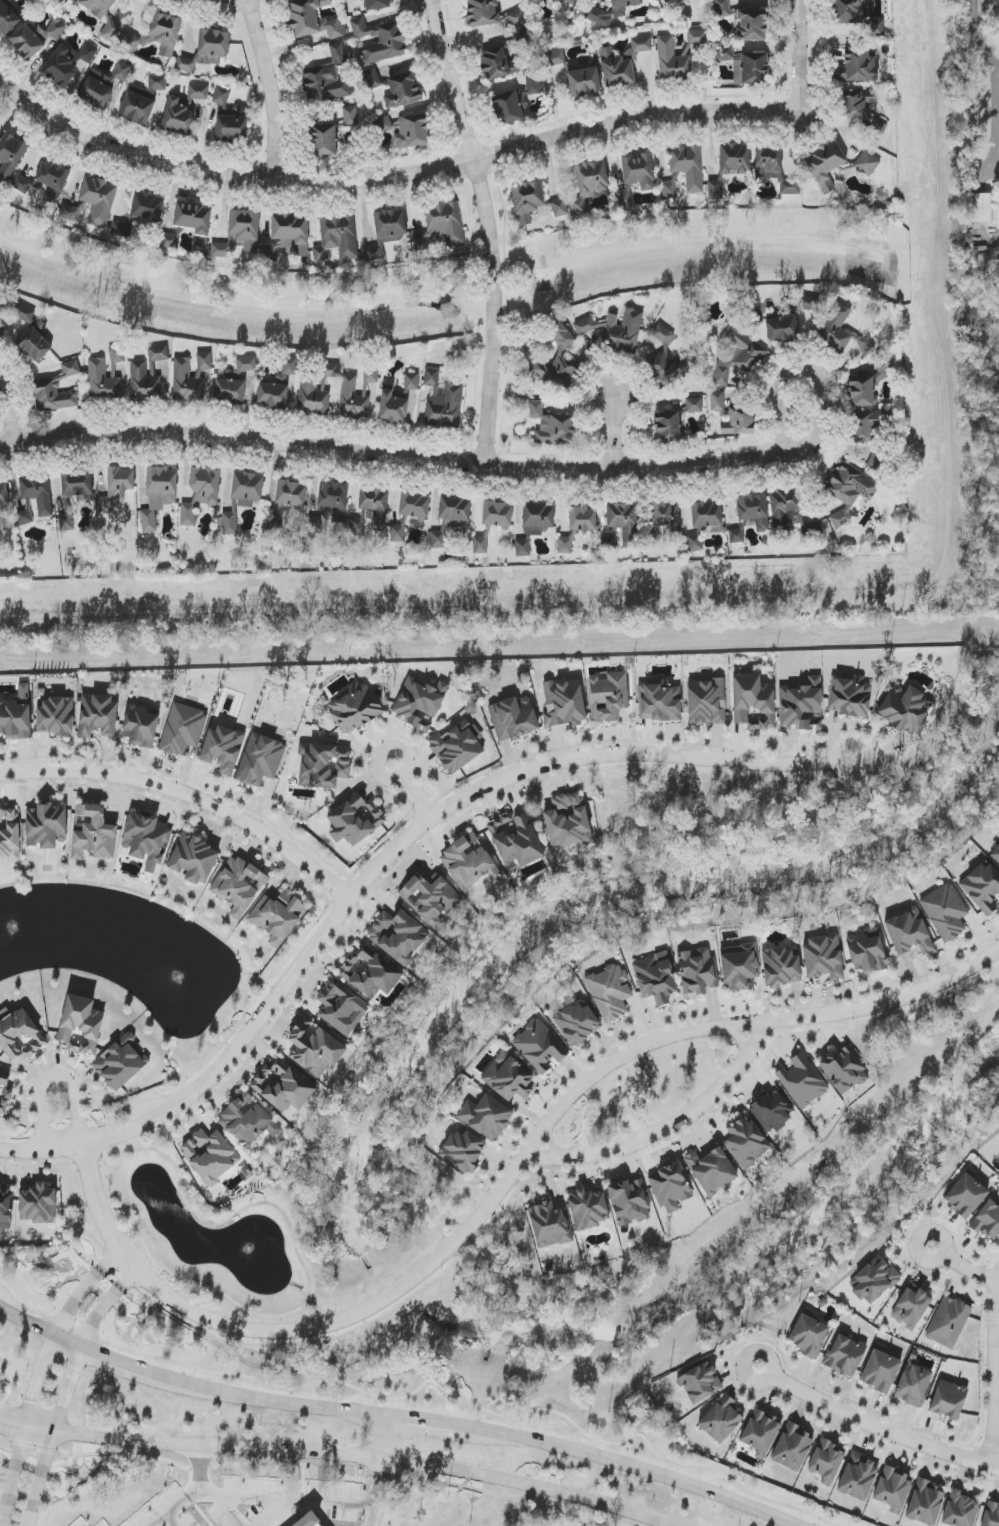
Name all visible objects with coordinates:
building: (64, 0)
building: (568, 1)
road: (242, 3)
building: (377, 5)
building: (722, 8)
building: (594, 10)
building: (483, 12)
building: (856, 15)
building: (103, 16)
building: (7, 19)
building: (313, 19)
building: (751, 25)
building: (156, 35)
road: (978, 35)
building: (35, 37)
building: (380, 40)
building: (206, 50)
building: (678, 56)
road: (799, 56)
building: (555, 58)
building: (67, 62)
building: (499, 64)
building: (622, 64)
building: (857, 65)
building: (745, 66)
building: (326, 78)
building: (372, 79)
building: (584, 82)
building: (532, 84)
building: (102, 85)
road: (272, 90)
building: (402, 90)
building: (221, 96)
building: (142, 100)
building: (510, 108)
building: (183, 110)
building: (862, 113)
building: (350, 116)
road: (995, 121)
building: (407, 130)
building: (323, 139)
building: (11, 155)
building: (735, 158)
building: (867, 163)
building: (825, 165)
building: (688, 166)
building: (774, 169)
building: (638, 171)
building: (53, 179)
building: (21, 184)
road: (392, 184)
building: (590, 184)
building: (669, 190)
building: (715, 190)
building: (624, 197)
building: (98, 200)
building: (527, 200)
building: (147, 207)
building: (560, 208)
building: (976, 208)
building: (70, 213)
building: (194, 220)
building: (441, 225)
road: (489, 229)
building: (239, 234)
building: (287, 236)
building: (337, 238)
building: (3, 311)
building: (451, 312)
building: (782, 329)
building: (616, 330)
building: (841, 331)
building: (32, 335)
building: (158, 353)
building: (117, 354)
building: (670, 355)
building: (738, 355)
building: (557, 361)
road: (809, 367)
building: (71, 369)
building: (286, 373)
building: (411, 381)
building: (144, 382)
building: (234, 382)
building: (103, 383)
building: (348, 389)
building: (317, 391)
building: (53, 396)
building: (272, 396)
building: (442, 400)
road: (8, 405)
building: (694, 405)
building: (392, 406)
building: (732, 415)
building: (552, 426)
building: (668, 426)
building: (862, 427)
road: (617, 433)
road: (394, 455)
building: (77, 483)
building: (116, 487)
building: (247, 488)
building: (849, 492)
building: (201, 493)
building: (291, 493)
building: (4, 494)
building: (38, 494)
building: (158, 495)
building: (334, 499)
building: (375, 505)
building: (414, 505)
building: (454, 508)
building: (784, 509)
building: (754, 511)
building: (497, 514)
building: (667, 515)
building: (707, 516)
building: (25, 518)
building: (536, 518)
building: (582, 519)
building: (66, 522)
building: (230, 523)
building: (626, 523)
building: (356, 526)
building: (397, 534)
building: (736, 536)
building: (438, 540)
building: (695, 543)
building: (480, 545)
building: (565, 545)
building: (523, 548)
building: (608, 696)
building: (850, 697)
building: (659, 701)
building: (419, 702)
building: (706, 702)
building: (753, 702)
building: (564, 704)
building: (800, 705)
building: (354, 709)
building: (903, 709)
building: (97, 715)
building: (16, 717)
building: (56, 717)
building: (513, 719)
building: (140, 726)
building: (182, 729)
building: (456, 747)
building: (222, 749)
building: (260, 760)
building: (325, 766)
road: (407, 792)
road: (188, 797)
building: (356, 821)
building: (567, 821)
building: (46, 826)
building: (93, 832)
building: (9, 833)
building: (515, 839)
building: (146, 840)
building: (995, 855)
building: (194, 858)
building: (468, 863)
road: (381, 865)
building: (238, 886)
building: (983, 887)
building: (430, 899)
building: (945, 912)
building: (278, 917)
fountain: (13, 932)
building: (909, 933)
building: (397, 936)
building: (823, 958)
building: (739, 966)
building: (781, 967)
building: (697, 972)
building: (370, 973)
fountain: (176, 977)
building: (655, 978)
building: (610, 992)
road: (888, 1002)
building: (341, 1007)
building: (577, 1024)
building: (81, 1025)
building: (20, 1036)
road: (737, 1037)
building: (540, 1046)
building: (314, 1048)
road: (625, 1054)
building: (119, 1063)
building: (844, 1070)
road: (54, 1078)
building: (508, 1078)
building: (802, 1081)
building: (282, 1086)
building: (4, 1091)
building: (772, 1110)
building: (486, 1117)
building: (248, 1120)
road: (667, 1127)
building: (746, 1142)
road: (550, 1145)
building: (463, 1151)
building: (210, 1156)
building: (998, 1164)
building: (711, 1170)
building: (670, 1187)
building: (966, 1195)
building: (630, 1202)
building: (38, 1203)
building: (5, 1208)
building: (588, 1208)
building: (988, 1220)
building: (549, 1225)
fountain: (246, 1249)
road: (959, 1265)
building: (874, 1281)
road: (85, 1290)
road: (106, 1306)
building: (911, 1306)
road: (27, 1322)
building: (948, 1322)
road: (286, 1331)
building: (809, 1334)
building: (845, 1356)
road: (107, 1358)
building: (881, 1371)
road: (990, 1372)
building: (700, 1383)
building: (913, 1385)
building: (948, 1399)
road: (276, 1402)
building: (721, 1419)
road: (13, 1422)
road: (436, 1422)
road: (872, 1426)
road: (40, 1428)
road: (25, 1429)
building: (760, 1433)
road: (53, 1436)
road: (389, 1439)
building: (792, 1448)
road: (366, 1457)
building: (827, 1461)
road: (317, 1468)
road: (641, 1469)
road: (201, 1470)
building: (858, 1477)
building: (893, 1489)
road: (379, 1493)
road: (259, 1497)
building: (925, 1503)
building: (960, 1510)
building: (991, 1514)
building: (312, 1522)

